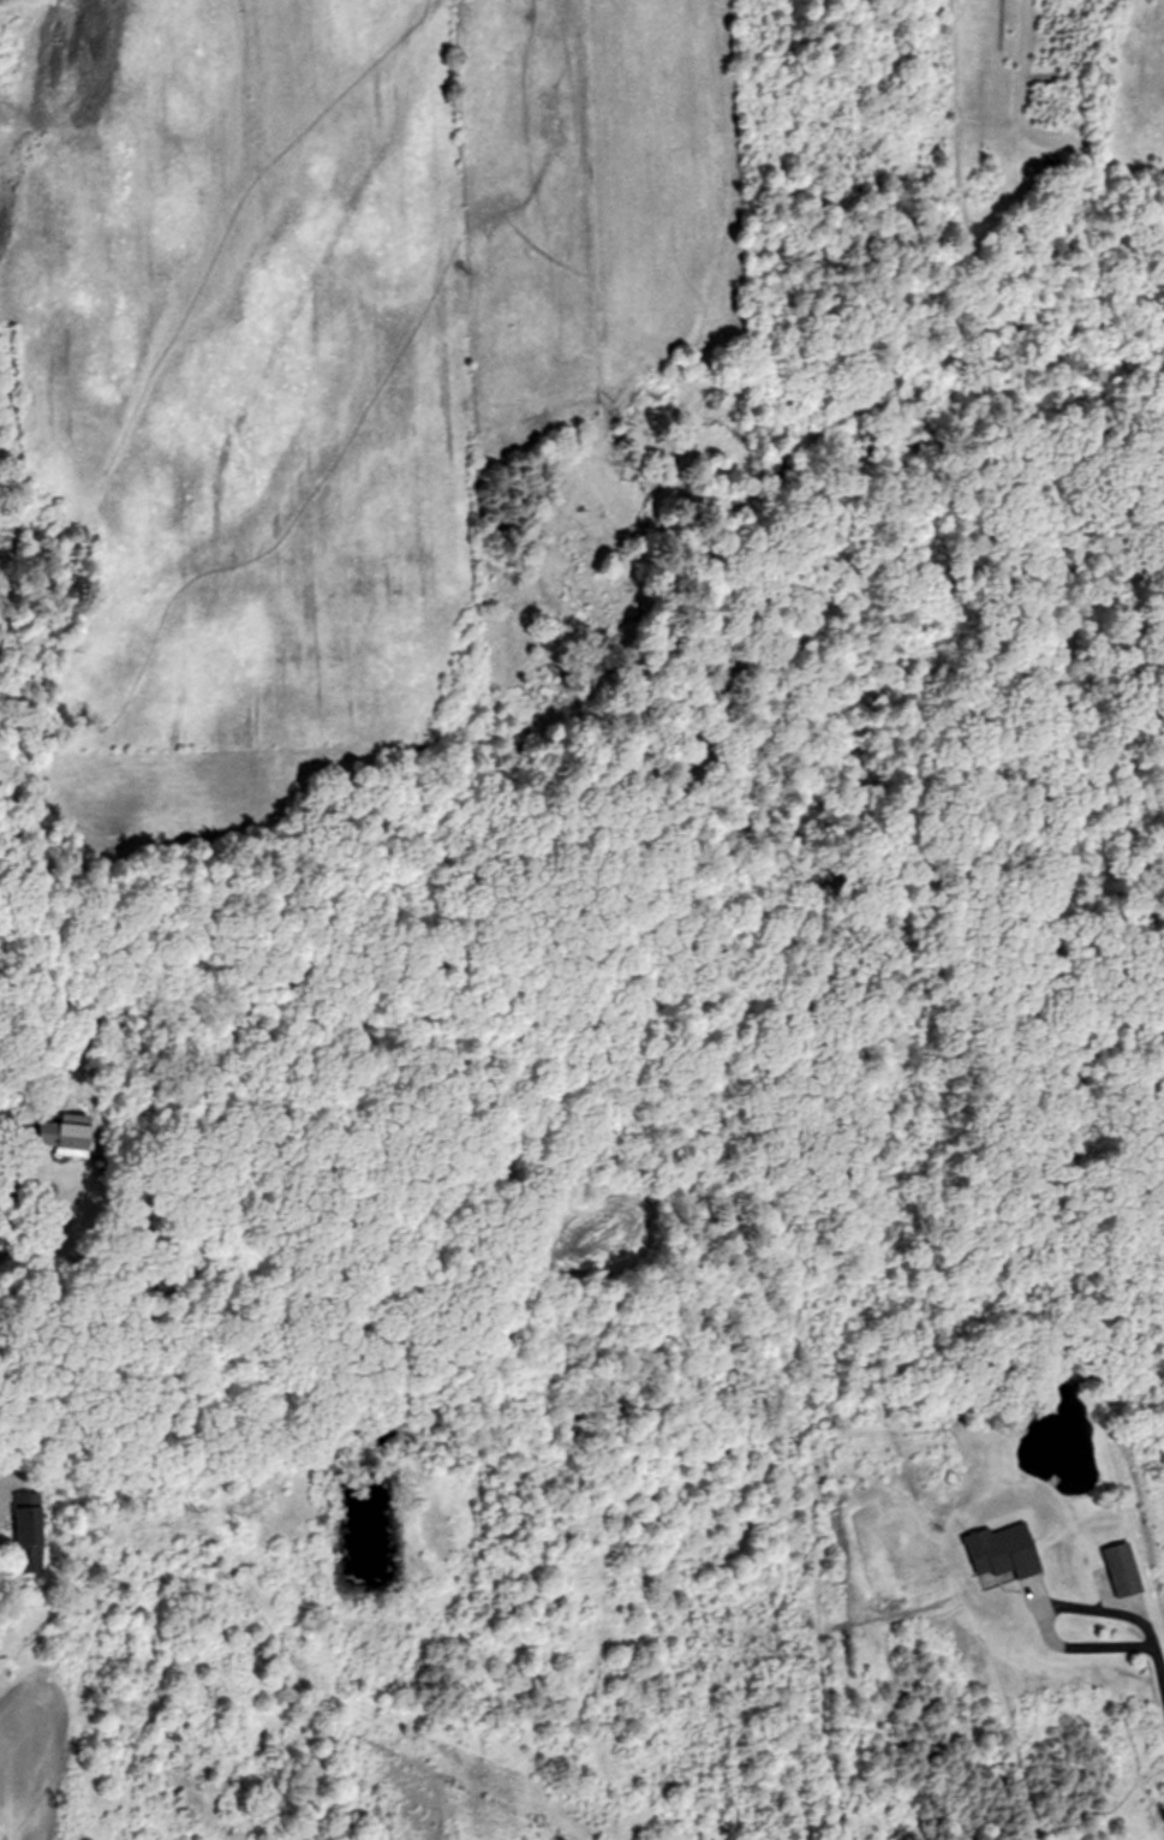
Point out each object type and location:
building: (60, 1133)
building: (31, 1534)
building: (1004, 1552)
building: (1122, 1570)
road: (1044, 1606)
road: (1157, 1672)

